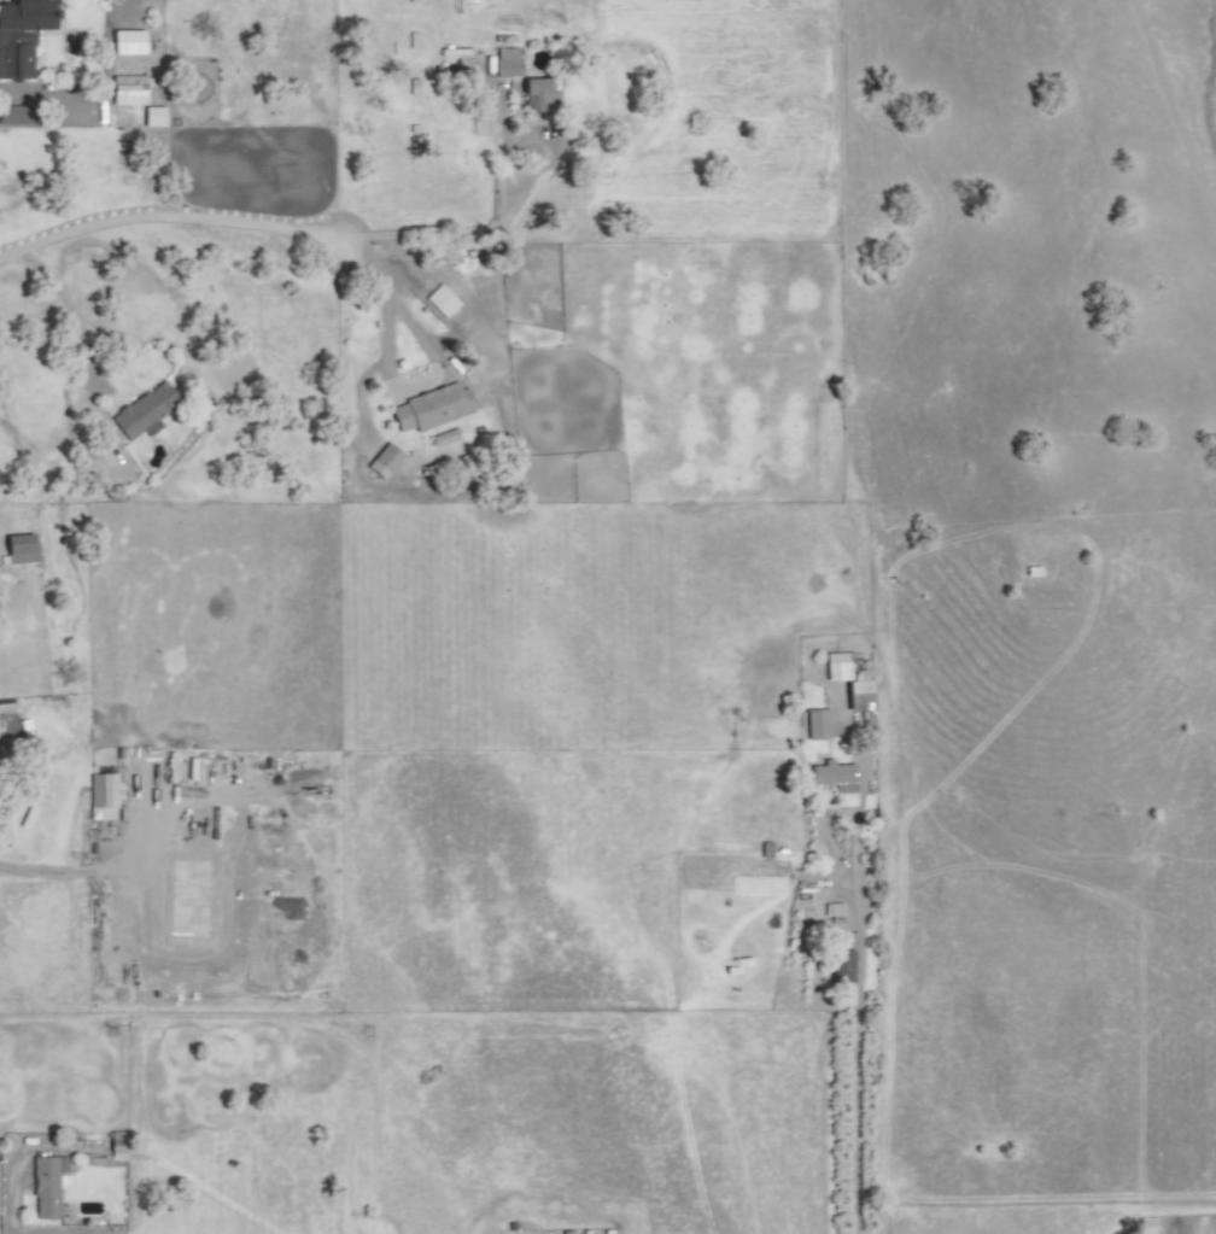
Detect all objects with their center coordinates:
building: (22, 35)
building: (128, 42)
building: (508, 63)
building: (129, 90)
building: (538, 94)
road: (1176, 97)
building: (16, 116)
building: (153, 117)
road: (508, 211)
road: (170, 218)
building: (442, 302)
road: (68, 310)
building: (432, 409)
building: (145, 413)
building: (445, 438)
building: (385, 461)
building: (22, 549)
building: (840, 667)
building: (859, 696)
building: (817, 724)
building: (835, 777)
building: (103, 797)
crop: (638, 836)
building: (834, 911)
building: (842, 966)
road: (843, 1023)
building: (117, 1146)
road: (12, 1159)
building: (48, 1186)

